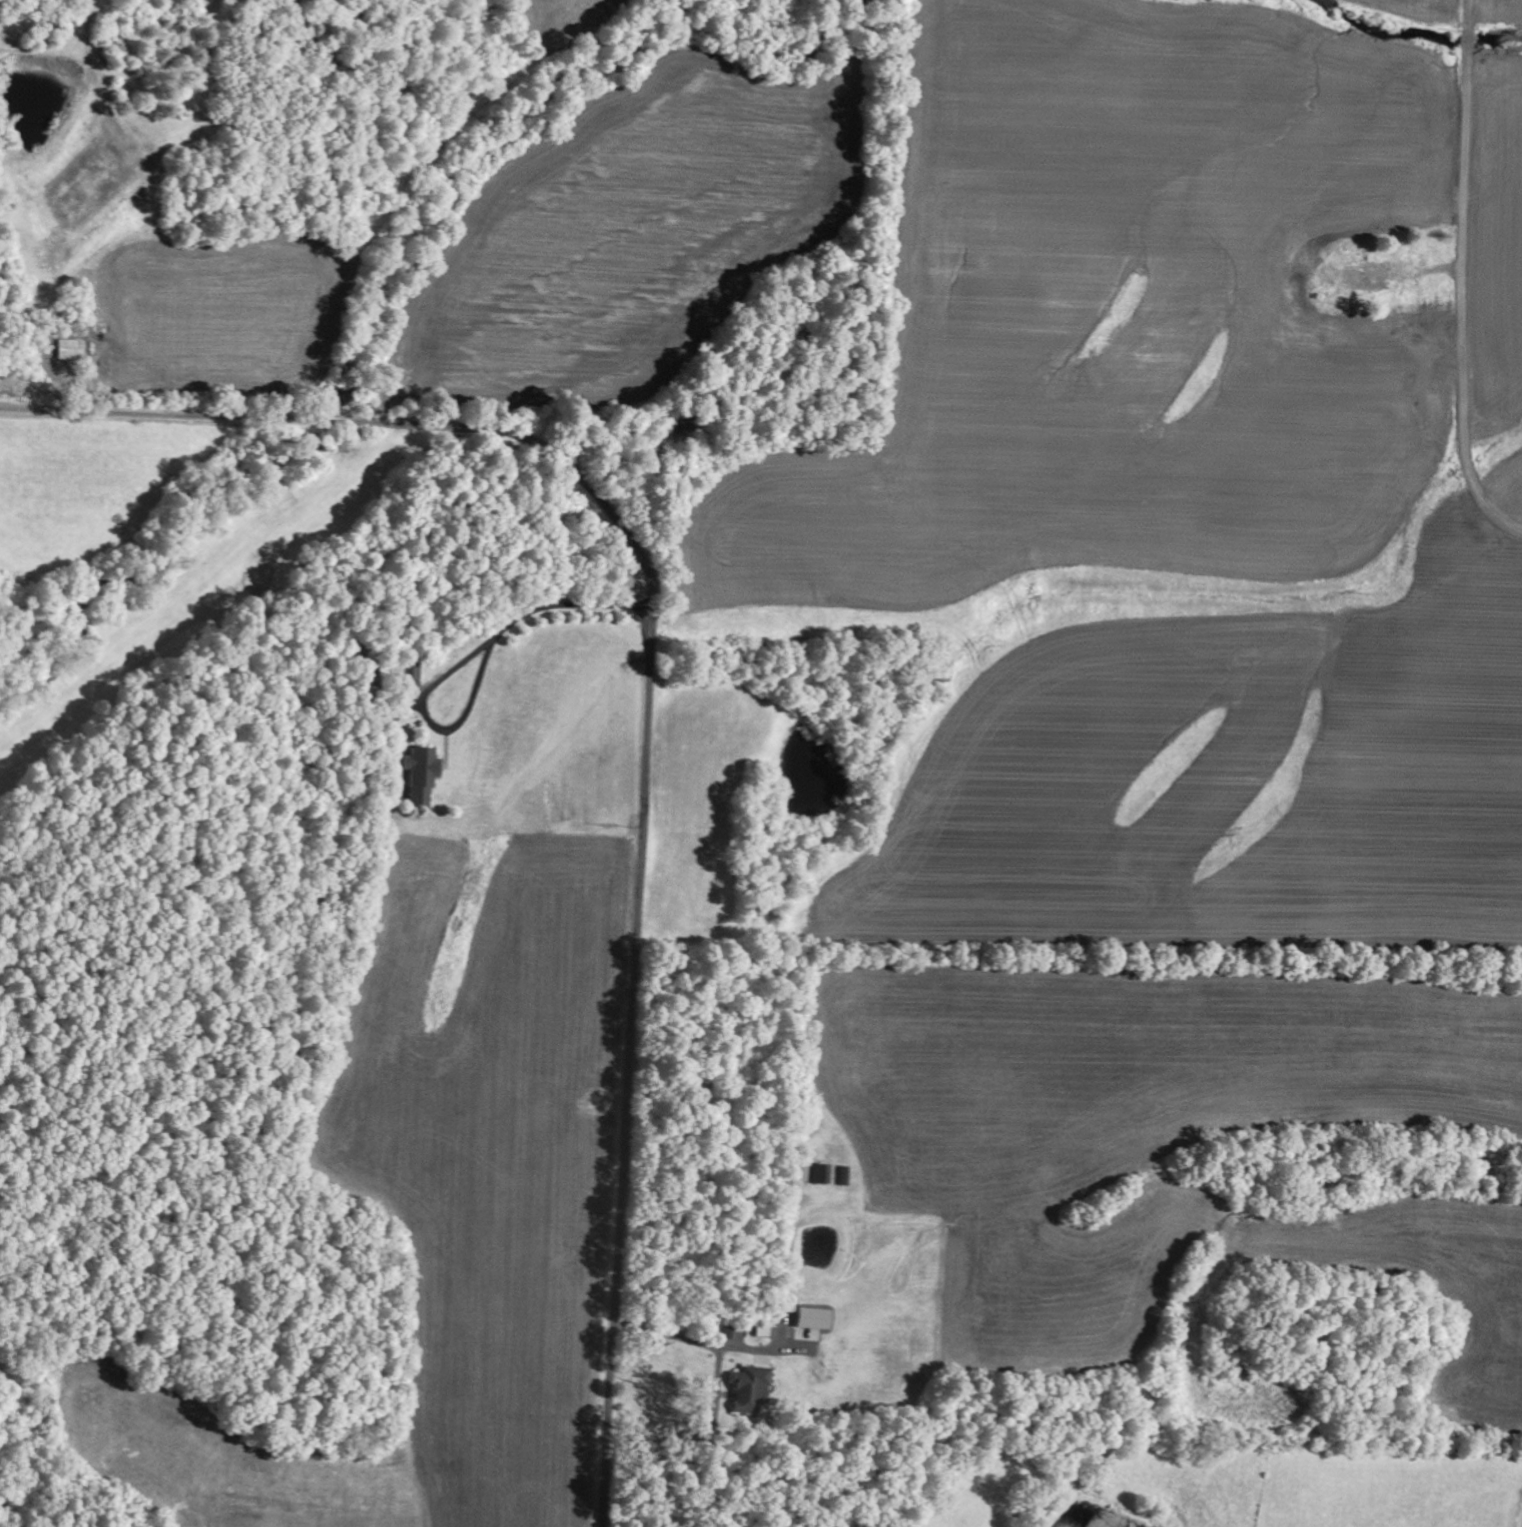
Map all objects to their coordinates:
road: (1463, 275)
road: (648, 695)
building: (420, 772)
building: (818, 1174)
building: (809, 1318)
building: (760, 1331)
building: (746, 1389)

